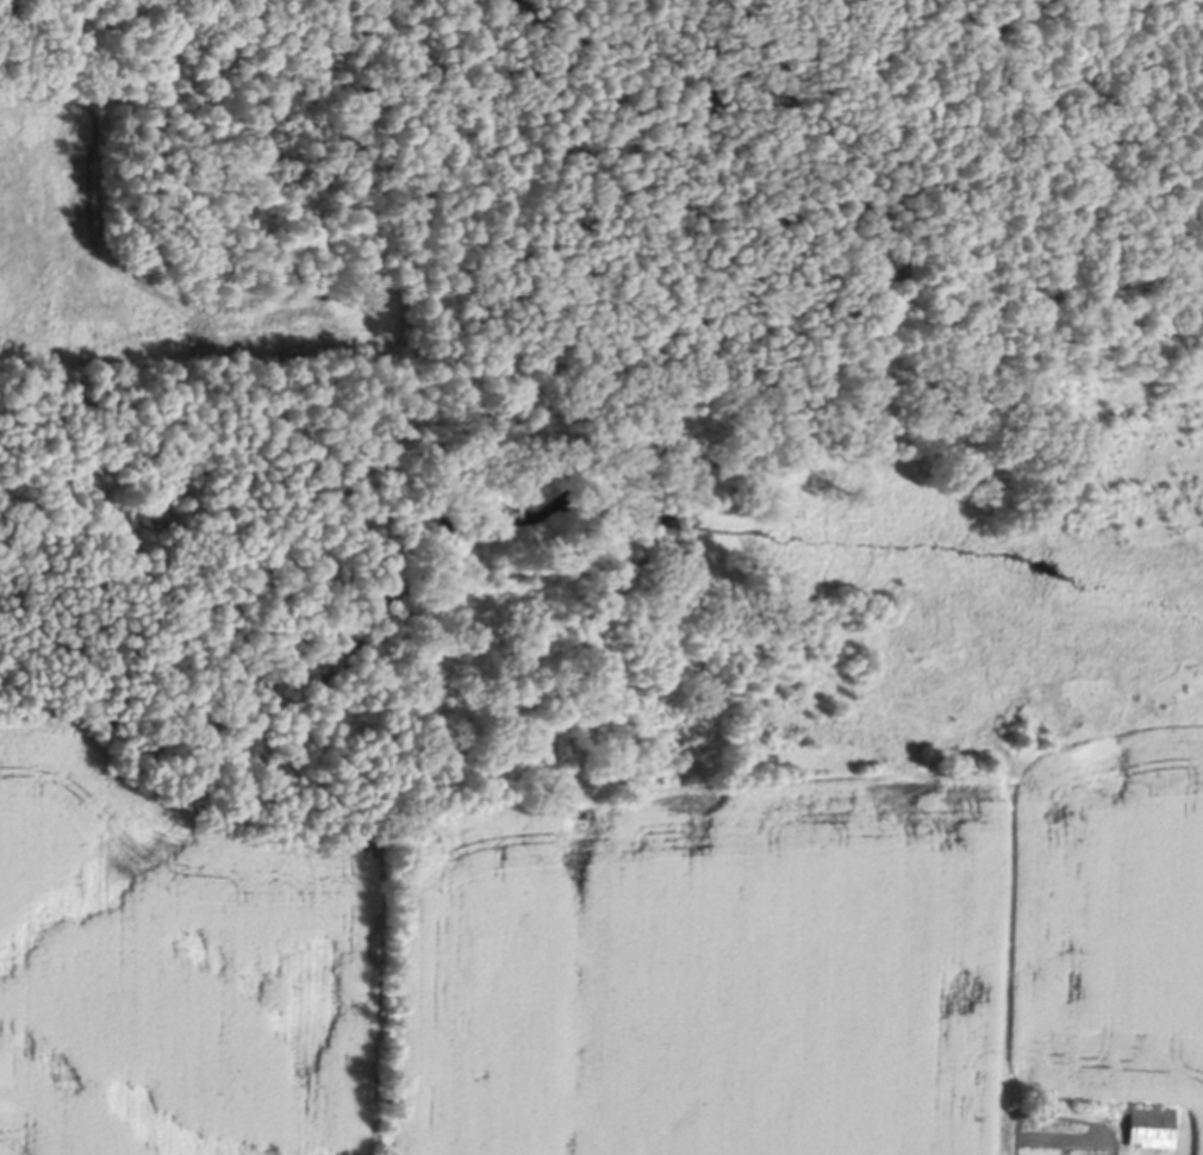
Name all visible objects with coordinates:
building: (1146, 1124)

